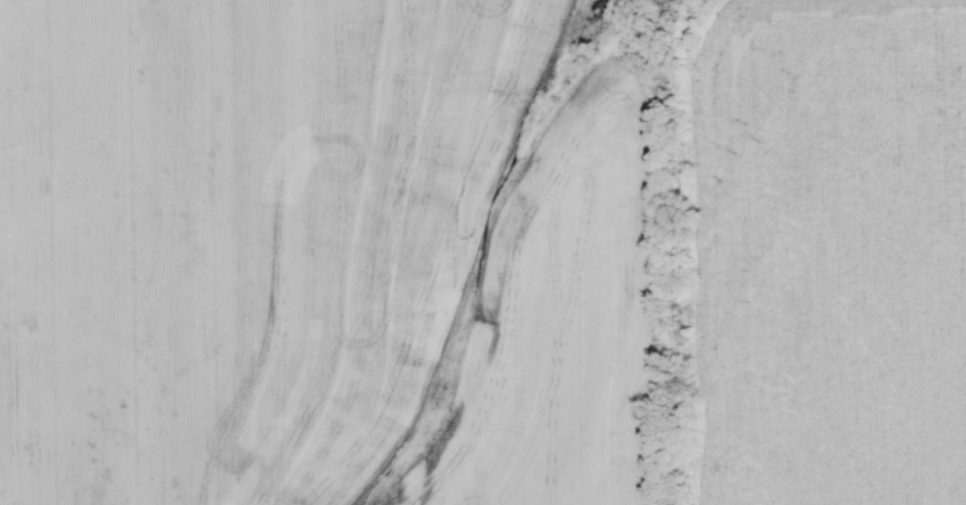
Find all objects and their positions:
crop: (835, 255)

